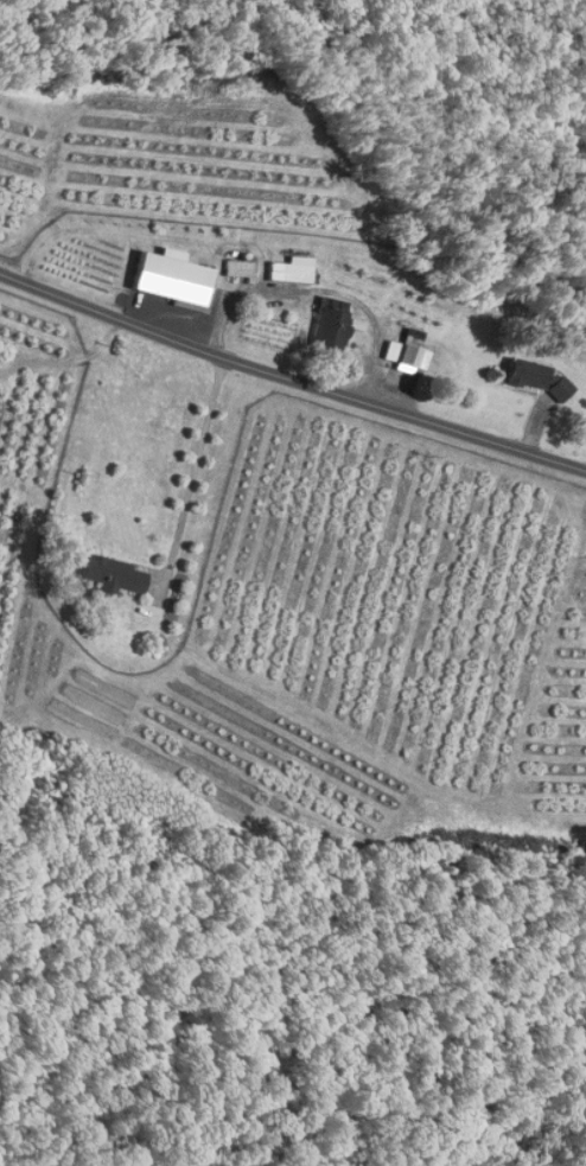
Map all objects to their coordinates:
building: (237, 274)
building: (331, 324)
building: (399, 355)
road: (291, 374)
building: (534, 378)
road: (197, 467)
building: (110, 574)

